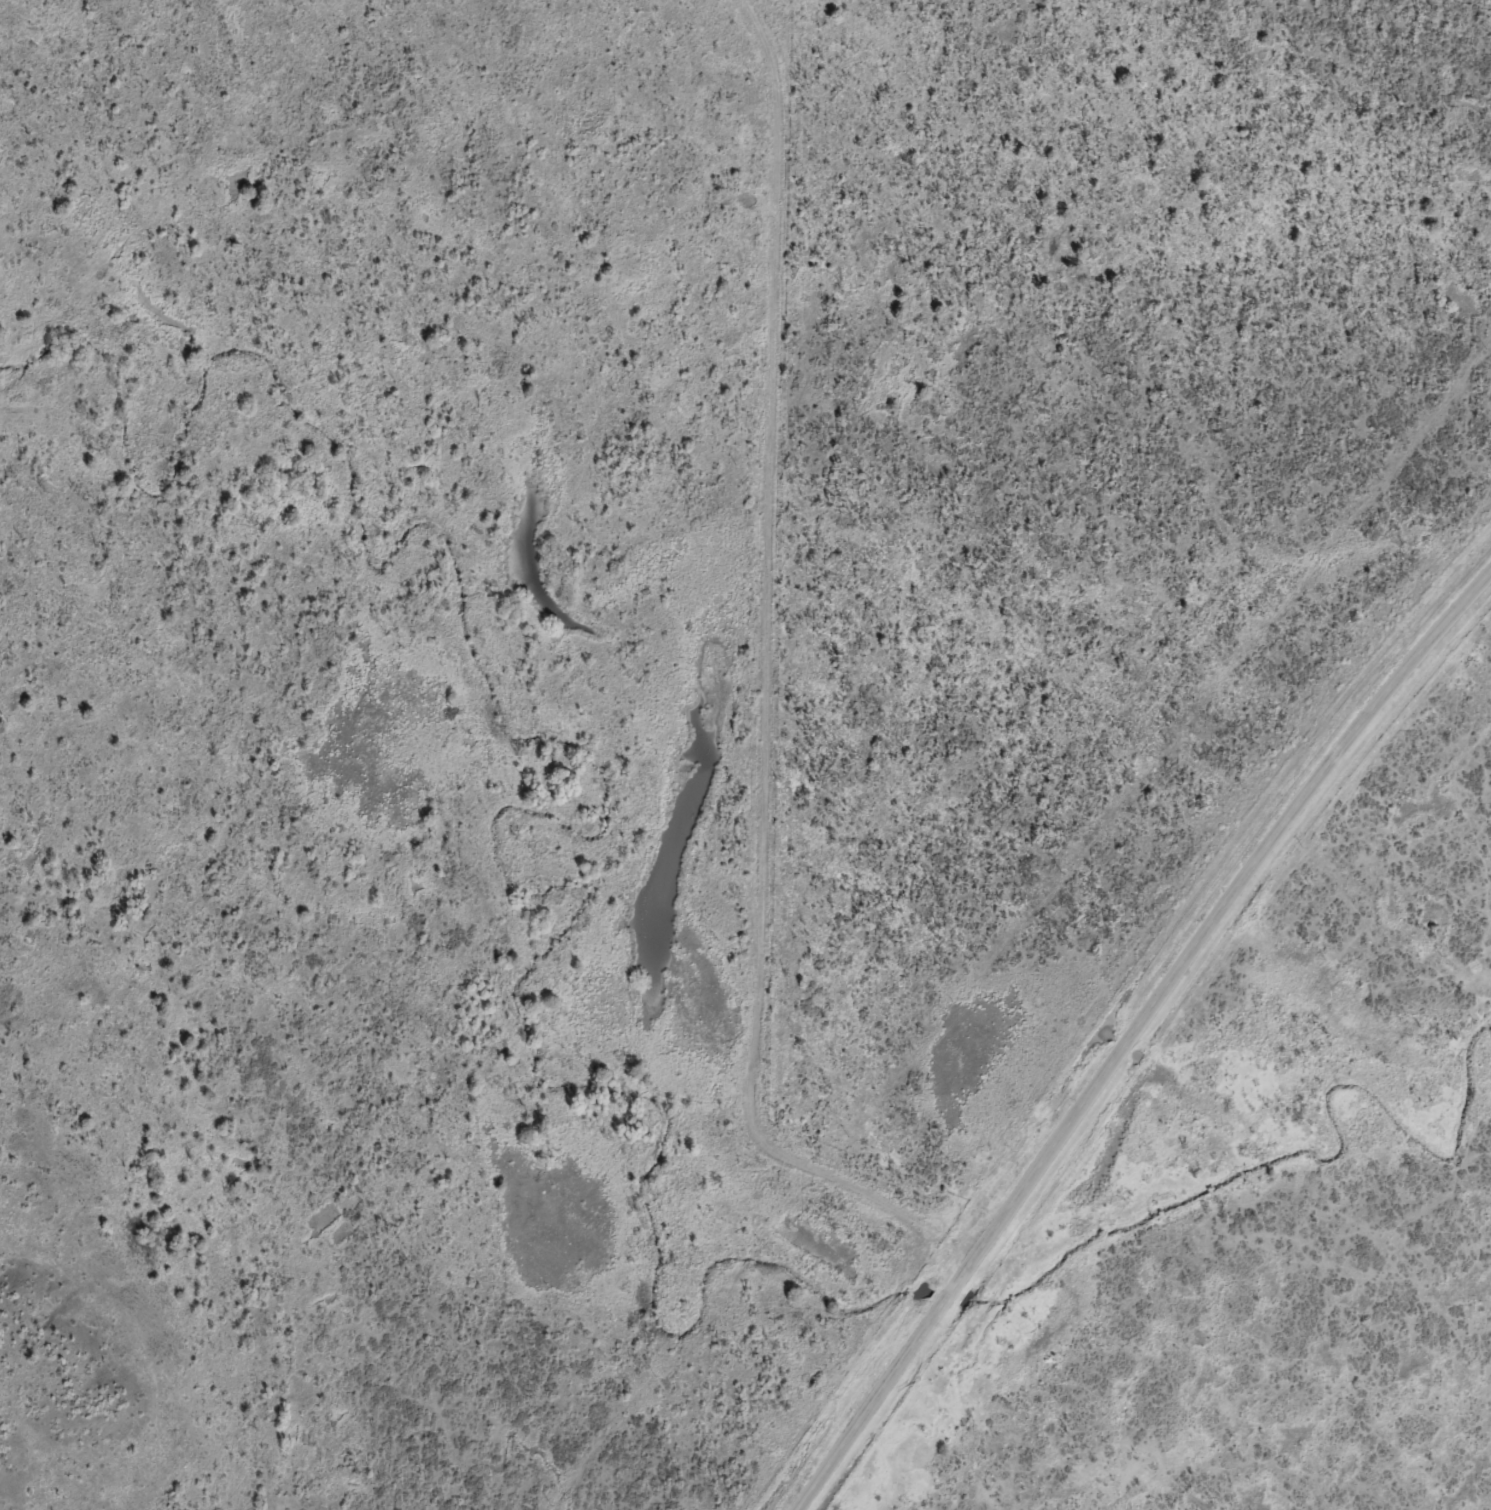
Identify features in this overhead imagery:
road: (759, 683)
road: (1135, 1035)

